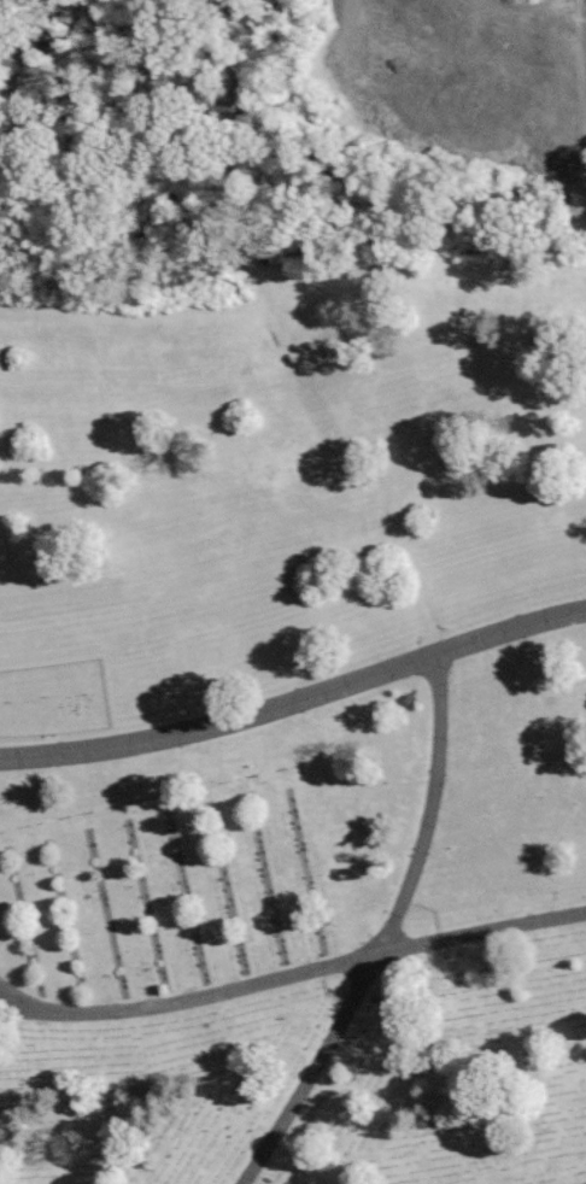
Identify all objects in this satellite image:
road: (573, 61)
park: (293, 592)
road: (297, 702)
road: (388, 934)
road: (293, 973)
road: (18, 998)

